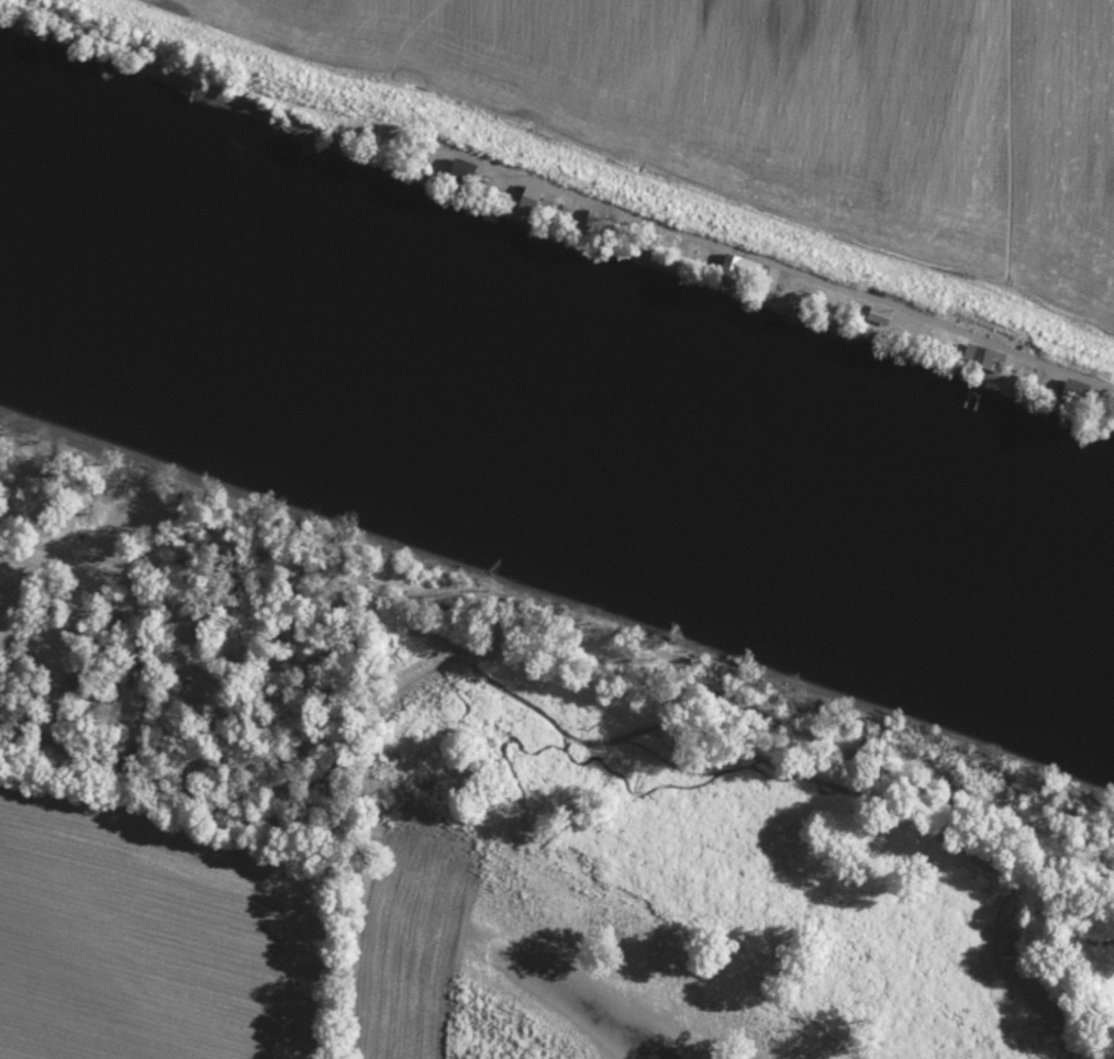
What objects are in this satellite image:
building: (476, 171)
building: (548, 201)
building: (679, 247)
road: (777, 266)
building: (735, 268)
building: (795, 289)
building: (876, 317)
building: (967, 356)
building: (1066, 390)
river: (561, 403)
road: (44, 555)
road: (119, 601)

